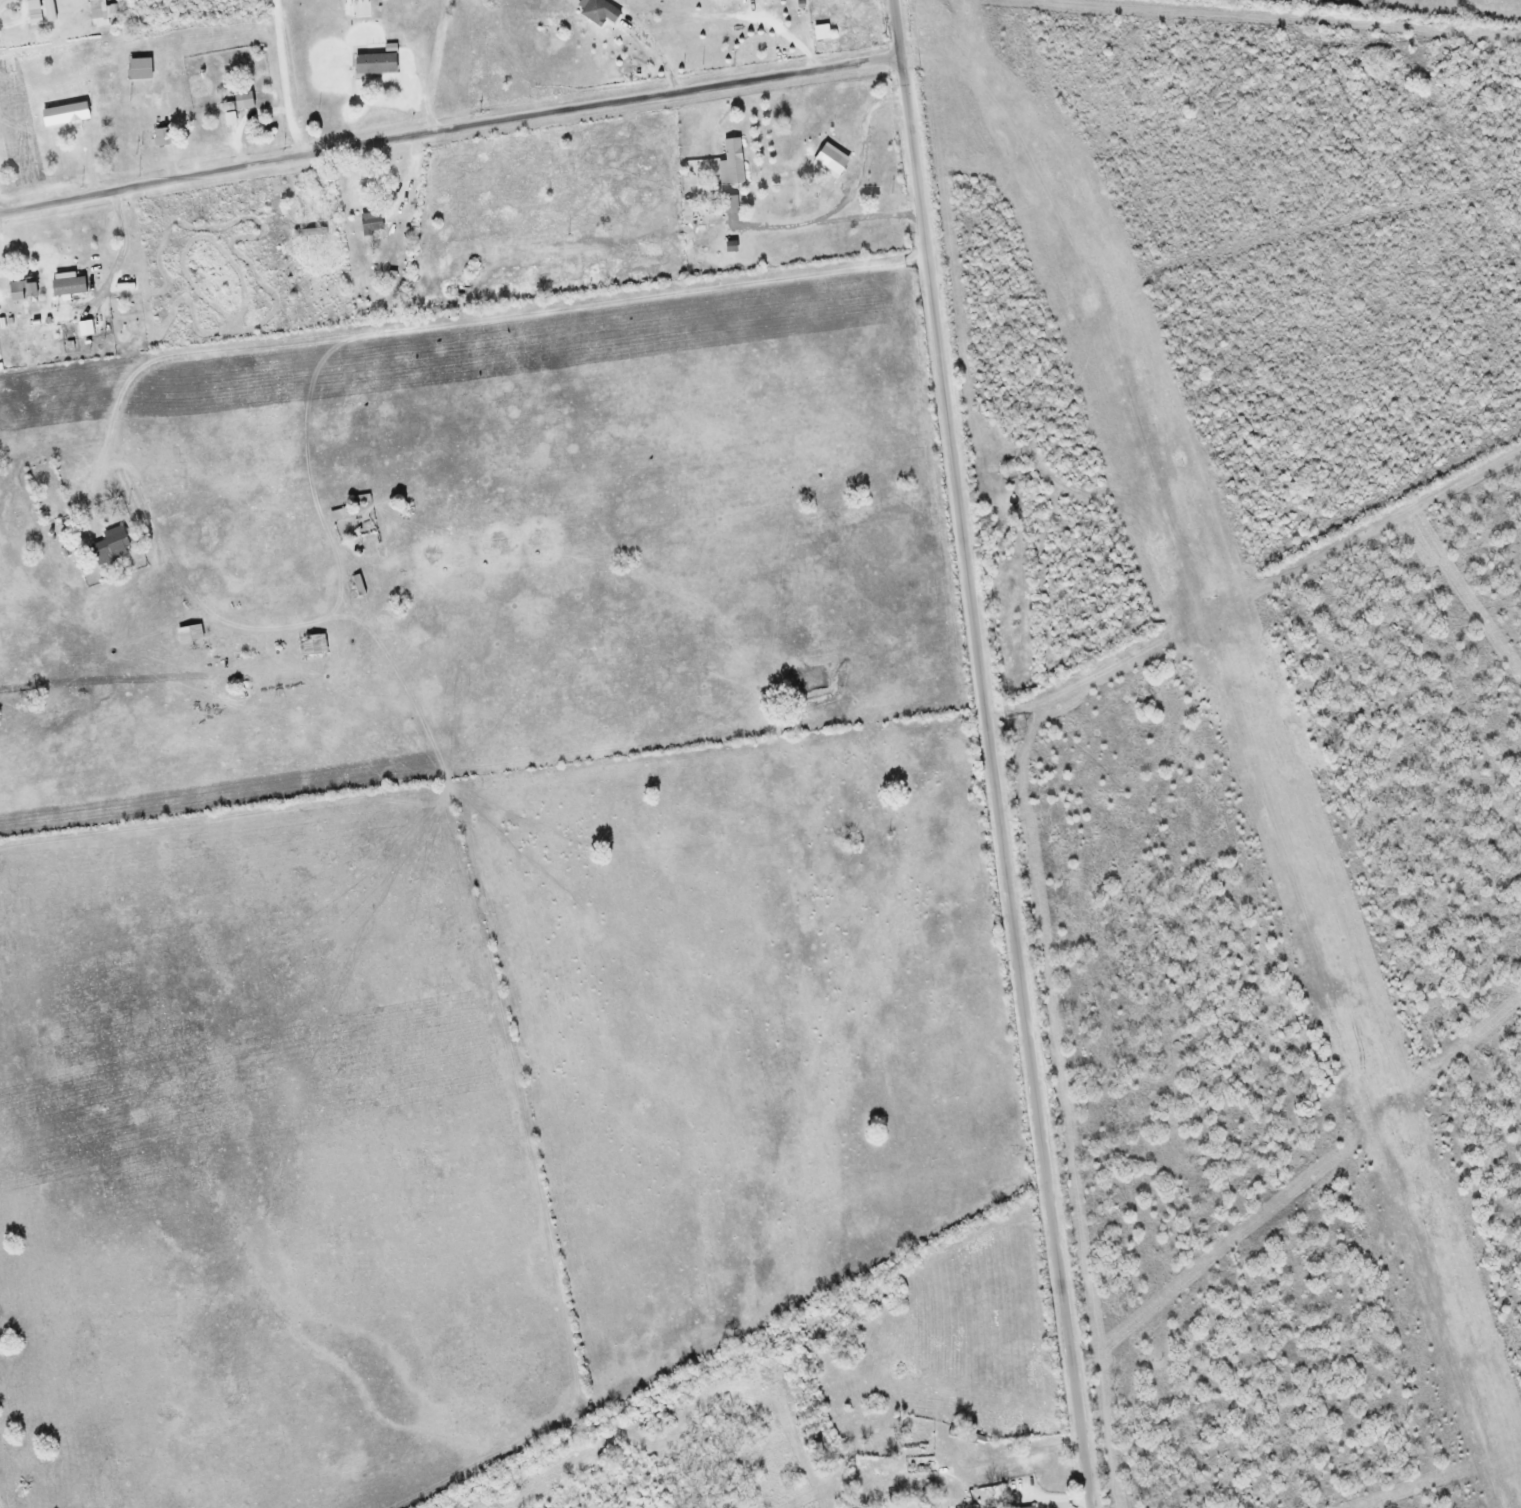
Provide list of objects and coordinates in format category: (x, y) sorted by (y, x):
building: (356, 8)
building: (36, 11)
building: (600, 11)
building: (99, 12)
building: (378, 59)
building: (140, 68)
road: (283, 79)
building: (238, 106)
building: (67, 113)
road: (447, 125)
building: (159, 130)
building: (733, 162)
building: (690, 209)
building: (158, 217)
building: (373, 221)
building: (311, 231)
building: (24, 288)
building: (341, 512)
building: (113, 546)
building: (359, 584)
building: (191, 633)
building: (314, 644)
road: (989, 754)
building: (1024, 1507)

